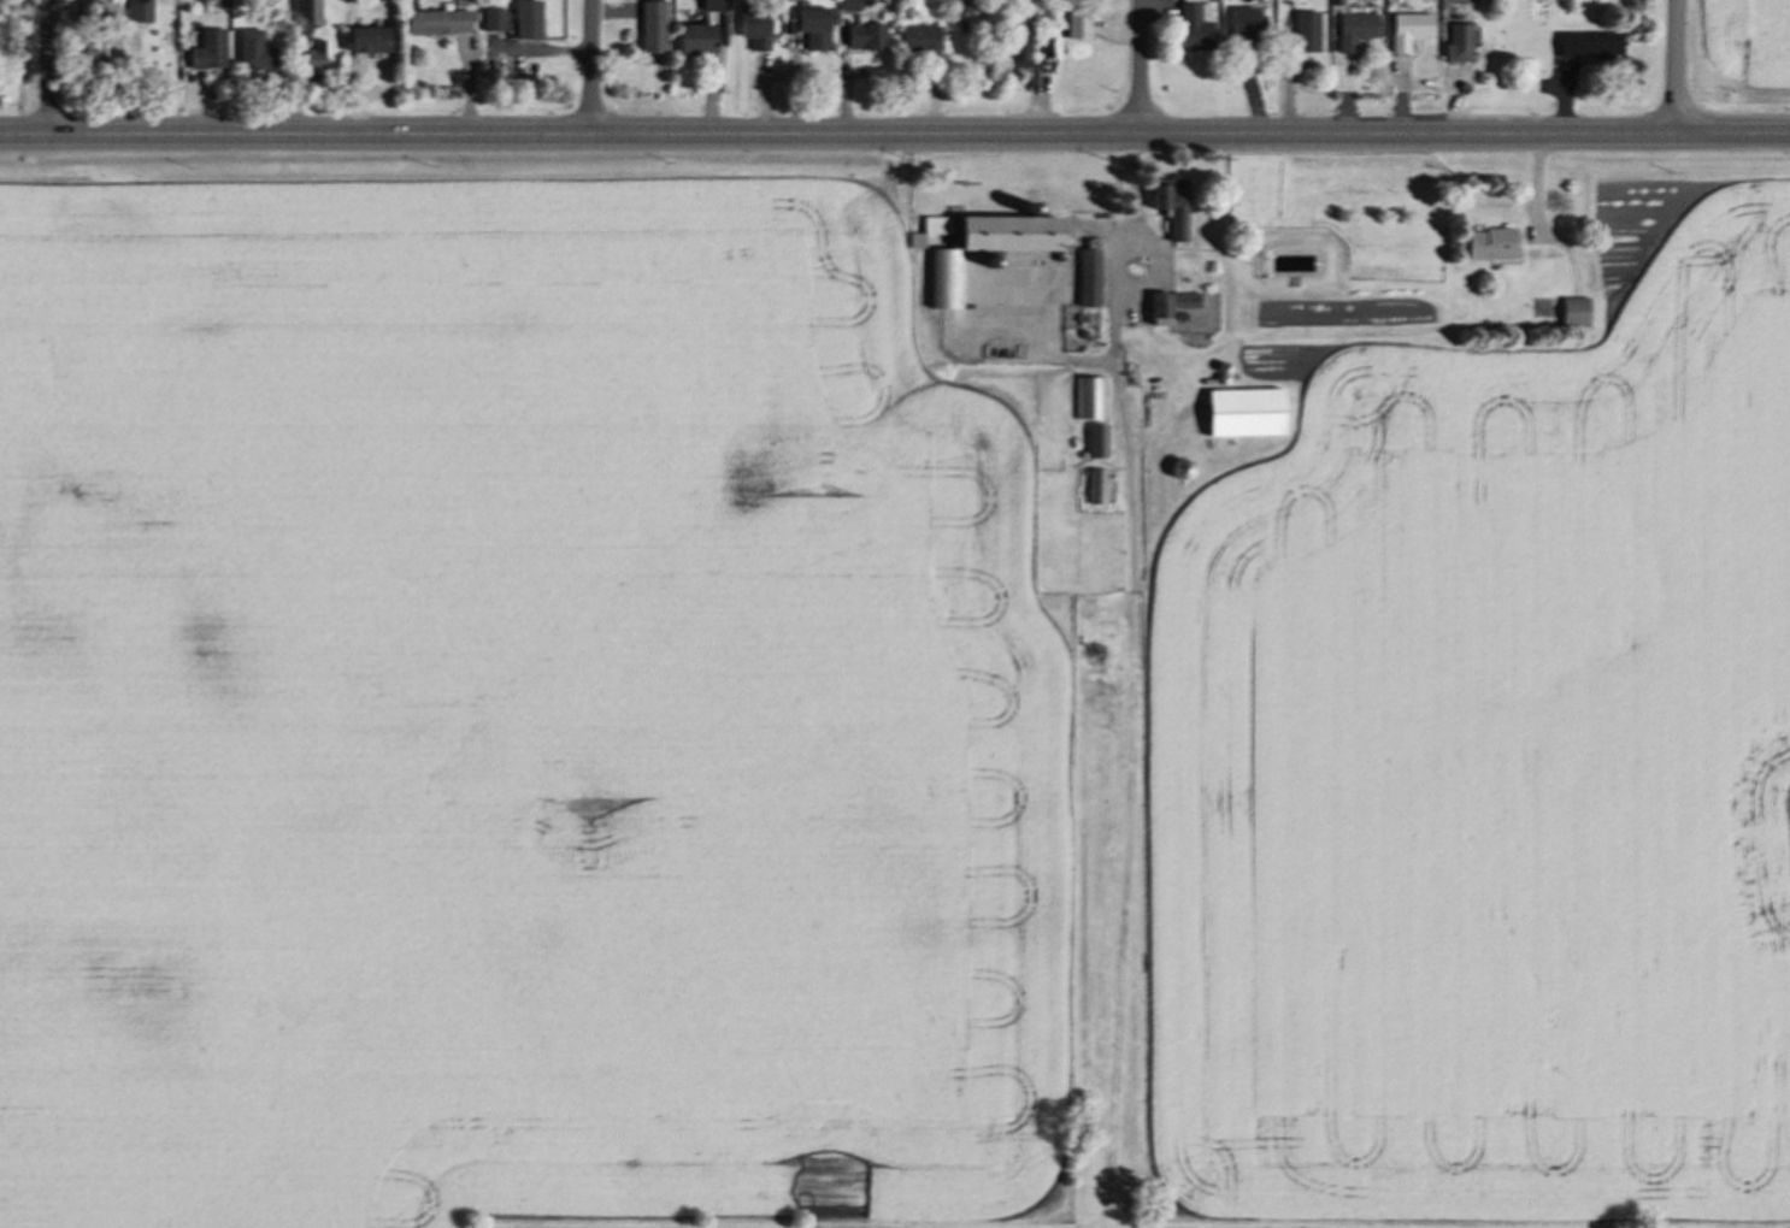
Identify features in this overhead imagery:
building: (1336, 0)
building: (709, 4)
building: (848, 4)
building: (959, 6)
building: (137, 8)
building: (89, 11)
building: (301, 11)
building: (490, 18)
building: (523, 18)
building: (431, 19)
building: (1077, 23)
building: (649, 24)
building: (1246, 24)
building: (1195, 25)
building: (1409, 28)
building: (808, 29)
building: (1354, 29)
building: (753, 30)
building: (1301, 33)
building: (693, 36)
building: (1014, 37)
building: (1456, 39)
building: (866, 40)
building: (917, 40)
building: (1042, 40)
building: (366, 42)
building: (1588, 43)
building: (206, 48)
building: (249, 48)
building: (313, 52)
building: (92, 54)
road: (51, 67)
road: (1677, 67)
road: (594, 69)
road: (1142, 69)
road: (894, 138)
road: (1135, 202)
building: (1030, 205)
building: (1168, 207)
building: (913, 240)
building: (1488, 243)
building: (989, 260)
building: (1207, 266)
building: (1085, 276)
building: (944, 284)
building: (1182, 300)
building: (1155, 309)
building: (1571, 311)
building: (1177, 314)
building: (1078, 317)
building: (1543, 324)
building: (1078, 332)
building: (1126, 341)
building: (1223, 366)
building: (1220, 377)
building: (1087, 400)
building: (1241, 412)
building: (1093, 441)
building: (1182, 470)
building: (1091, 488)

